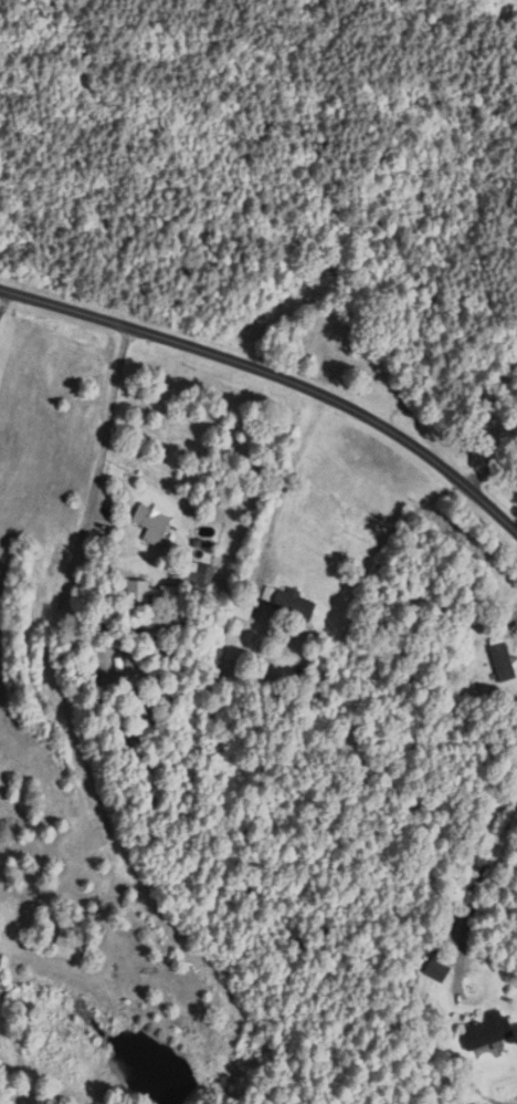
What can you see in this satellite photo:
road: (276, 368)
road: (108, 420)
road: (493, 465)
road: (288, 478)
building: (152, 523)
building: (200, 575)
building: (294, 604)
building: (503, 662)
road: (277, 761)
road: (473, 898)
building: (70, 948)
building: (487, 1031)

